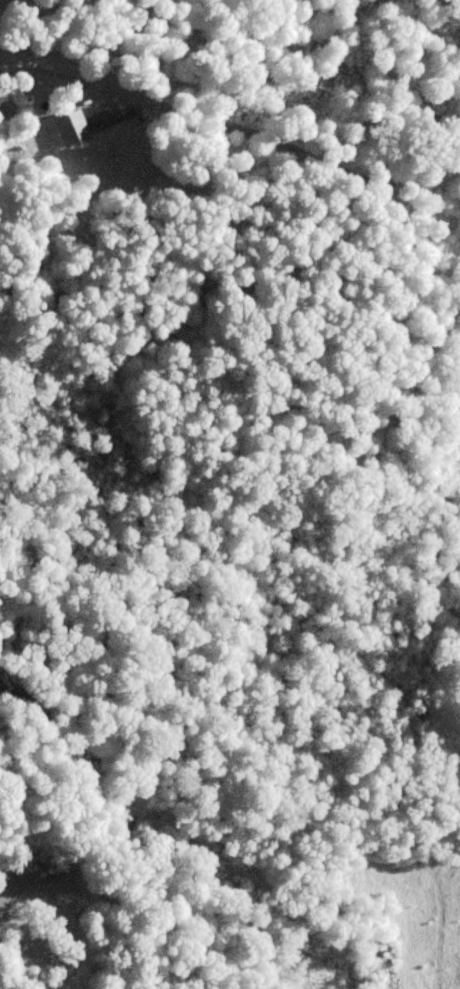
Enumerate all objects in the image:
building: (69, 129)

